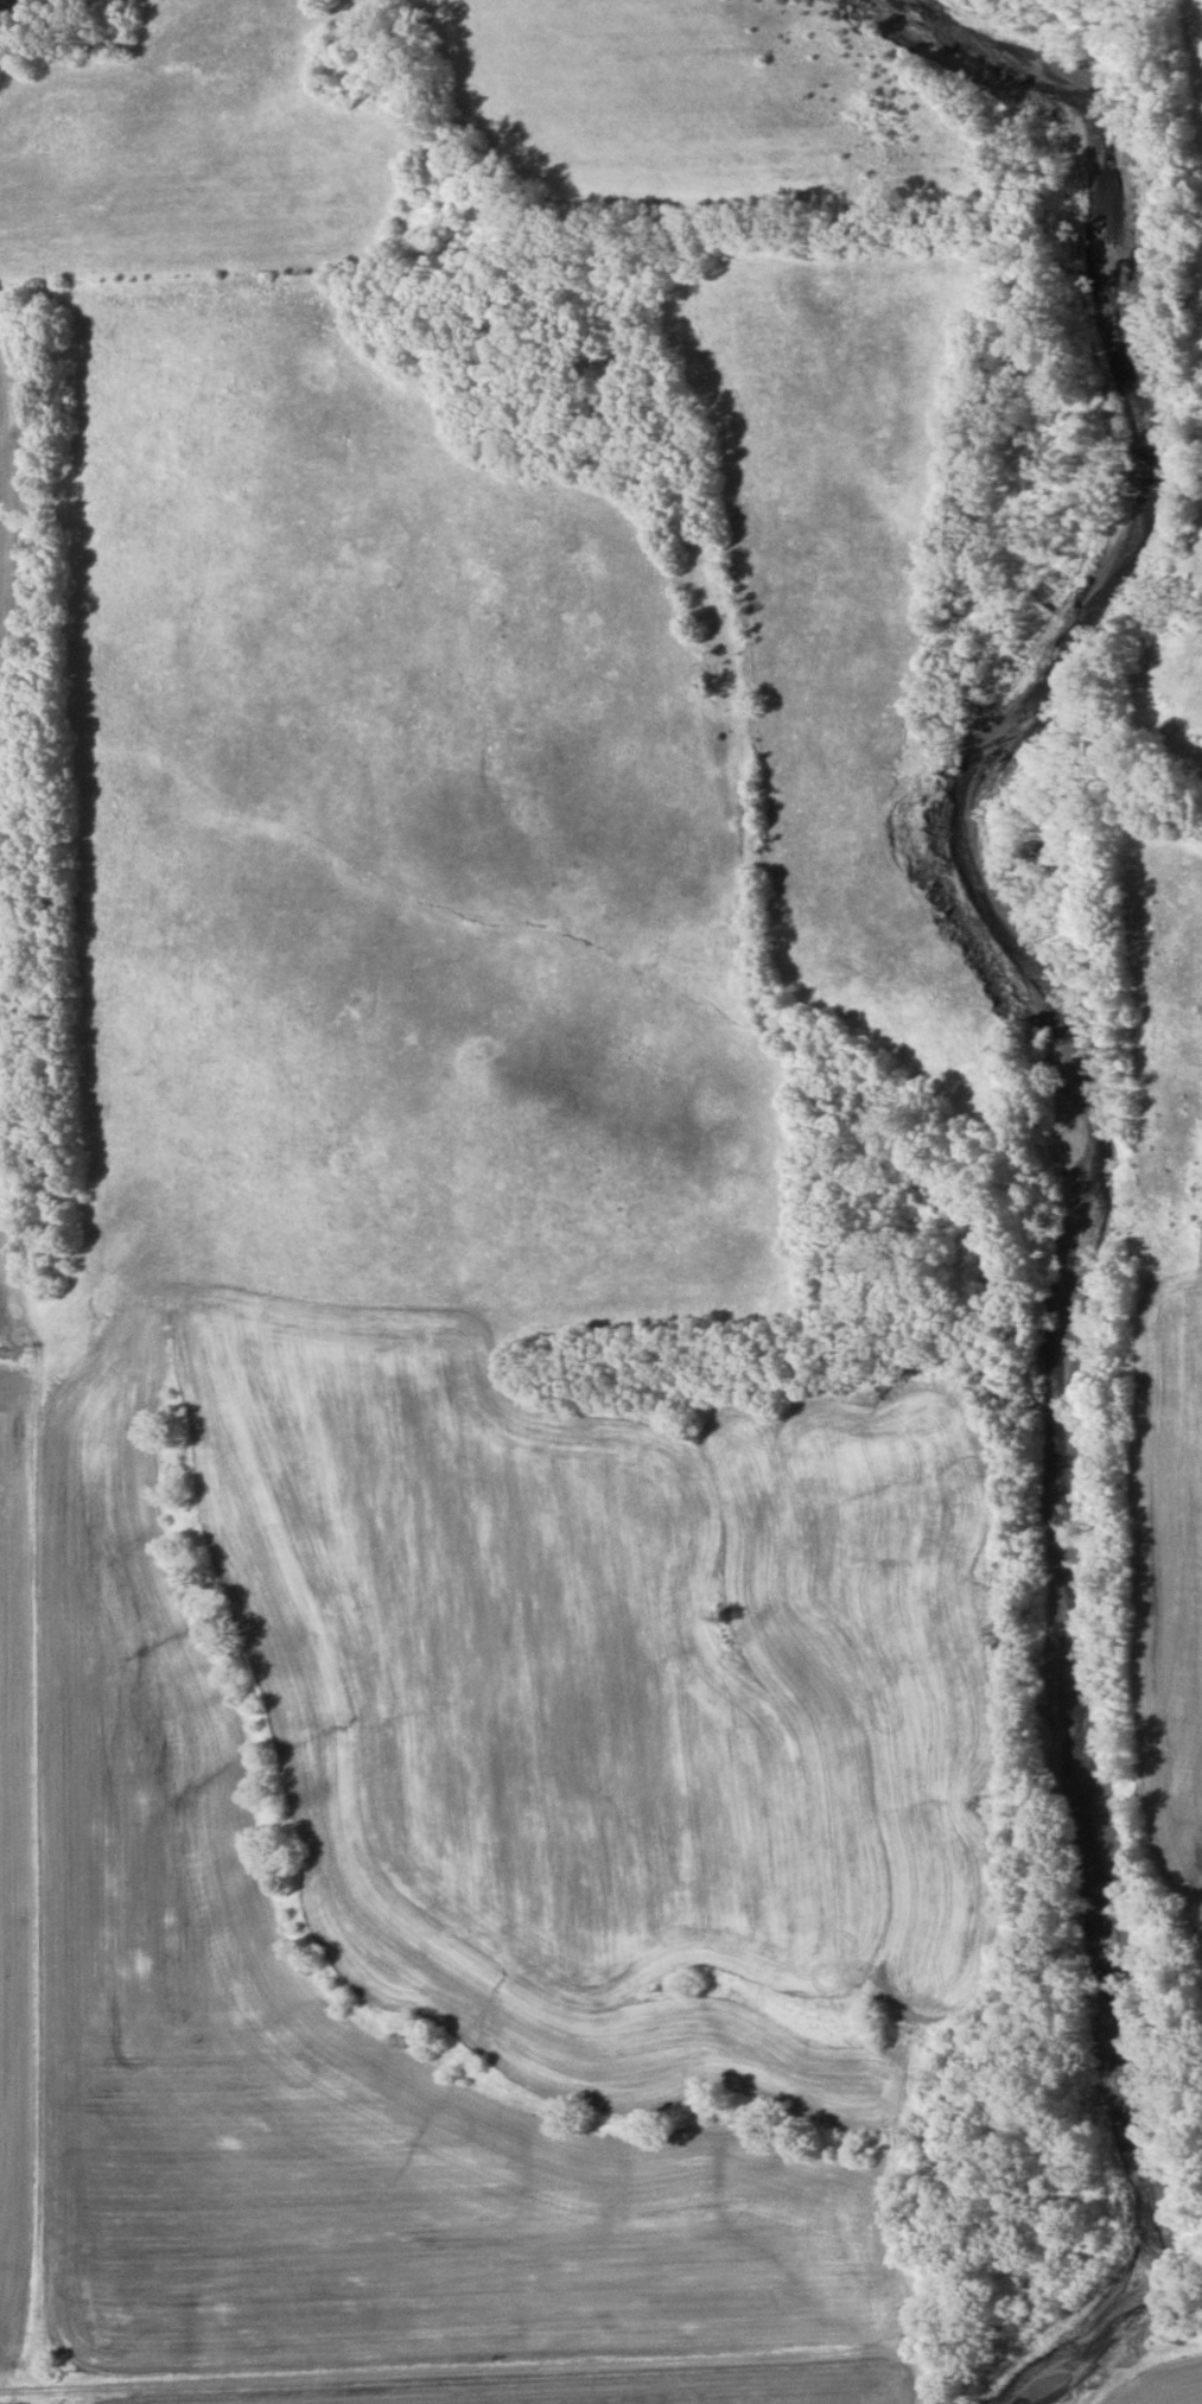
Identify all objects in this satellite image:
road: (1156, 2348)
road: (444, 2374)
road: (1092, 2378)

